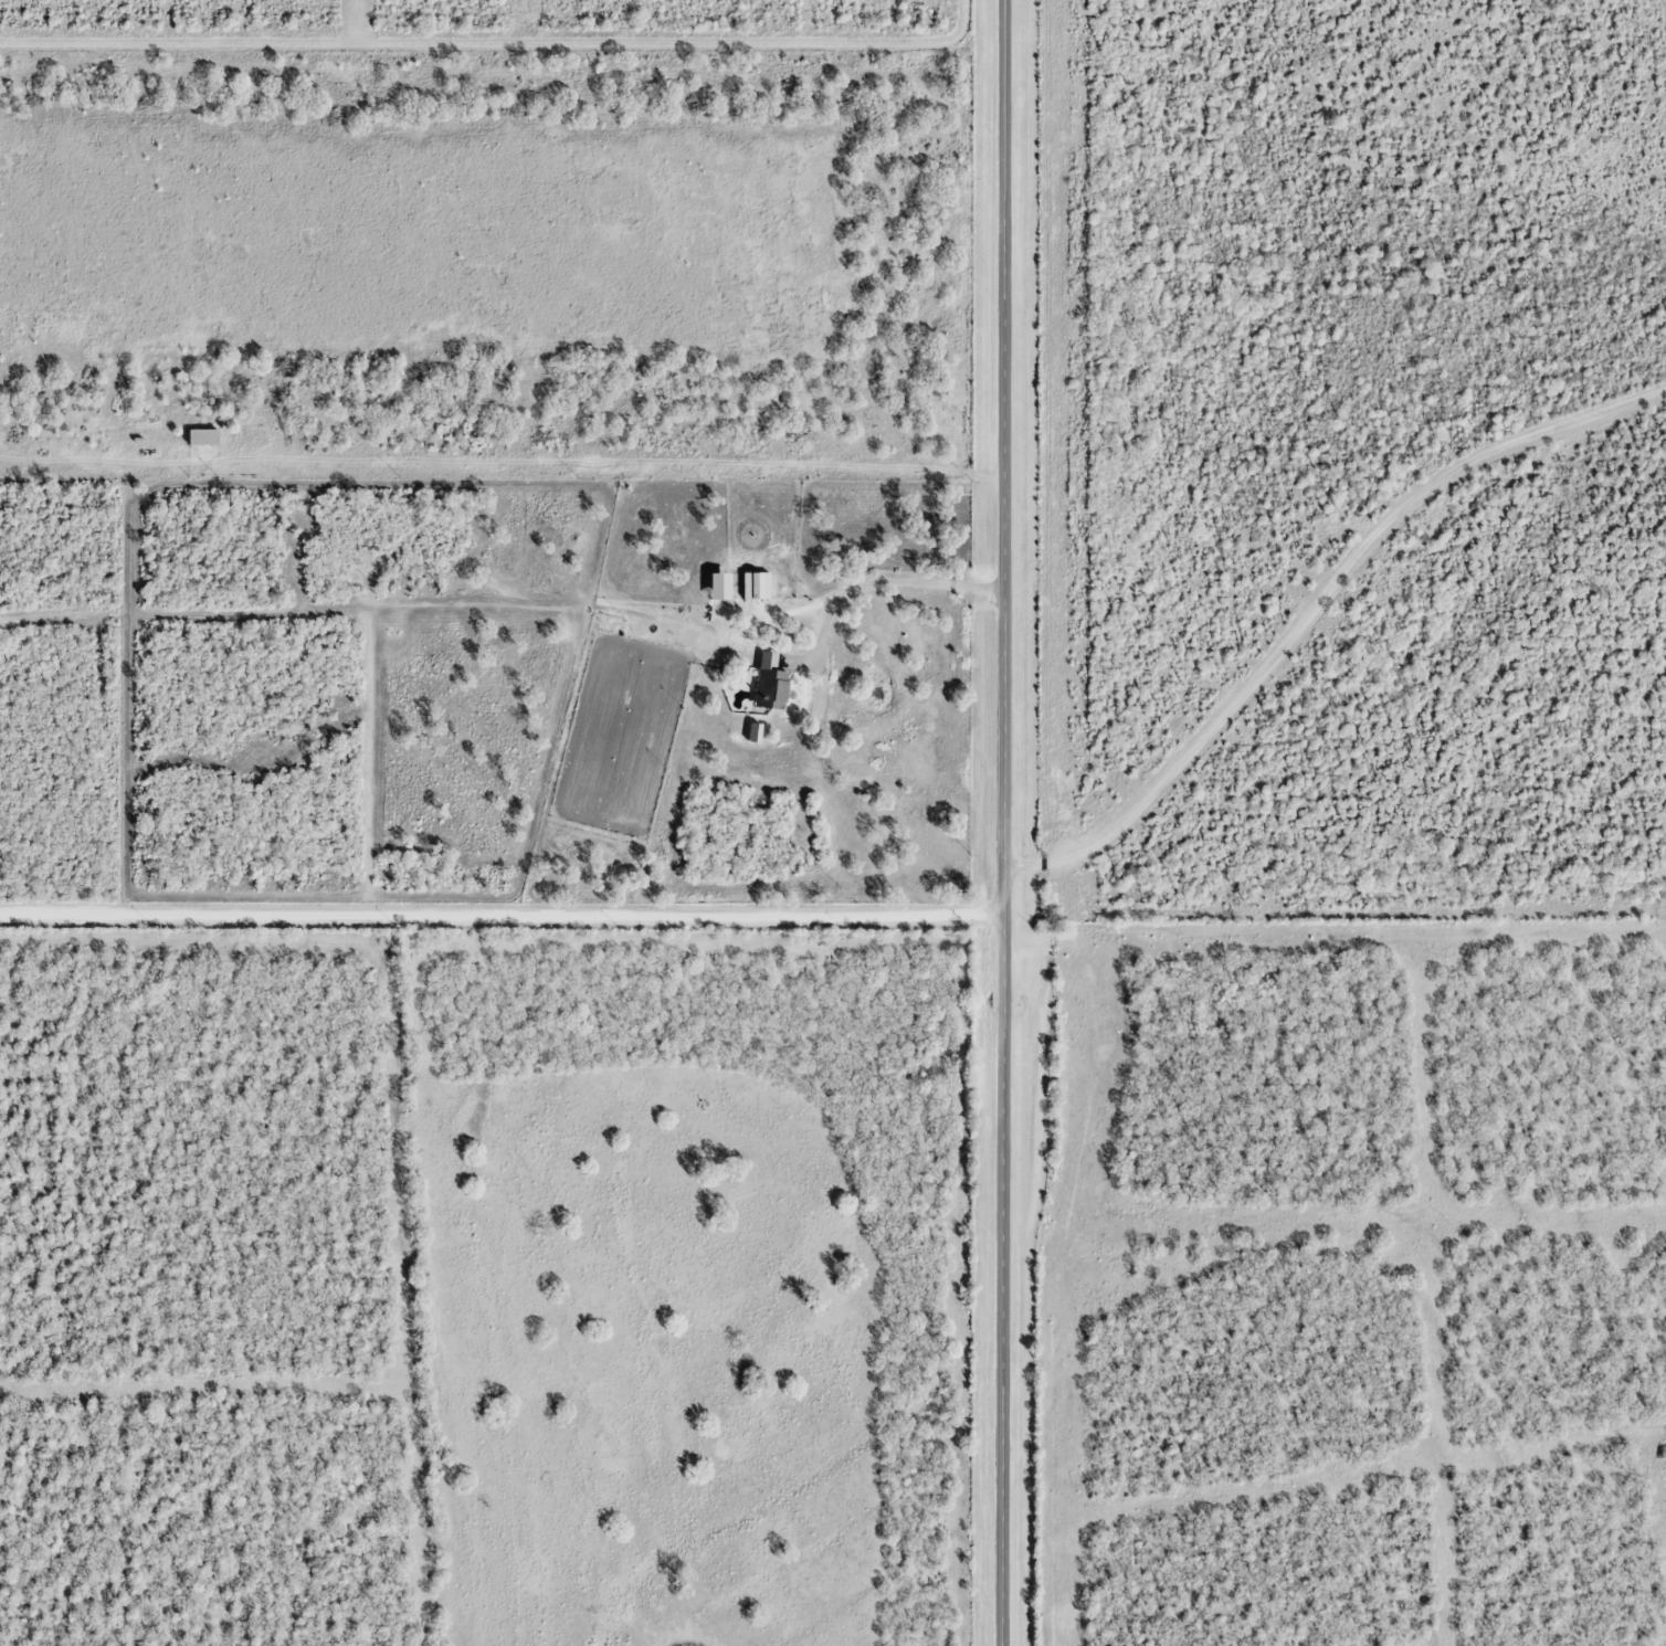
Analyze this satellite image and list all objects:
building: (201, 436)
building: (755, 582)
road: (1315, 594)
building: (768, 682)
road: (1005, 823)
road: (502, 912)

